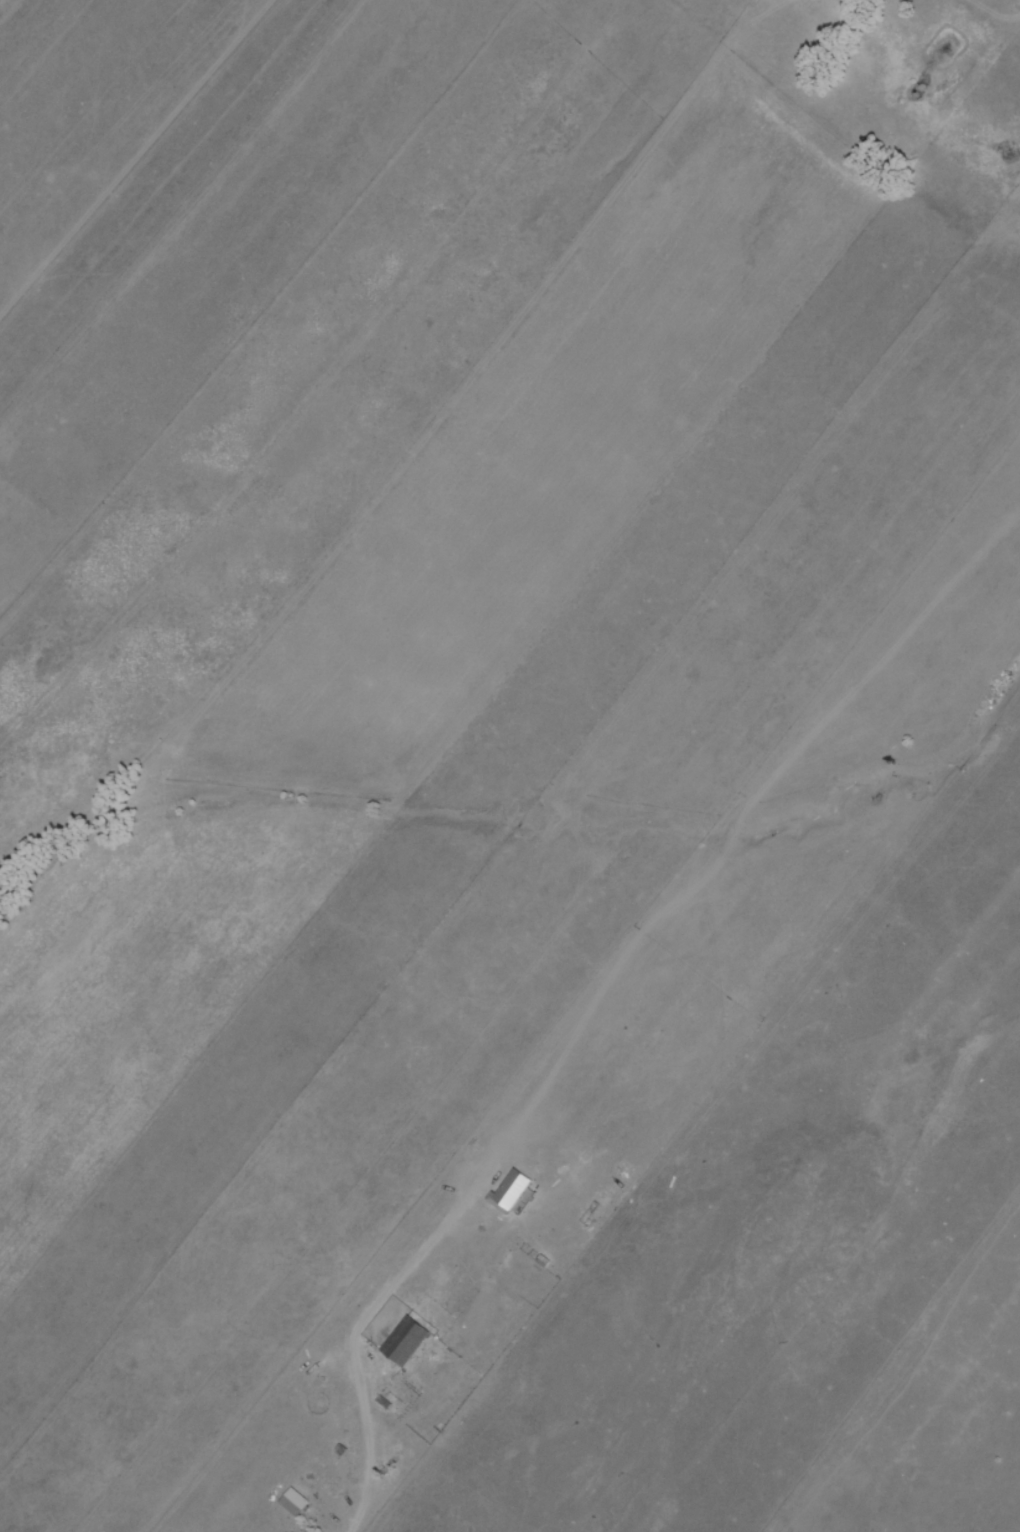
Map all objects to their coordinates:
building: (402, 1342)
building: (291, 1502)
road: (350, 1531)

